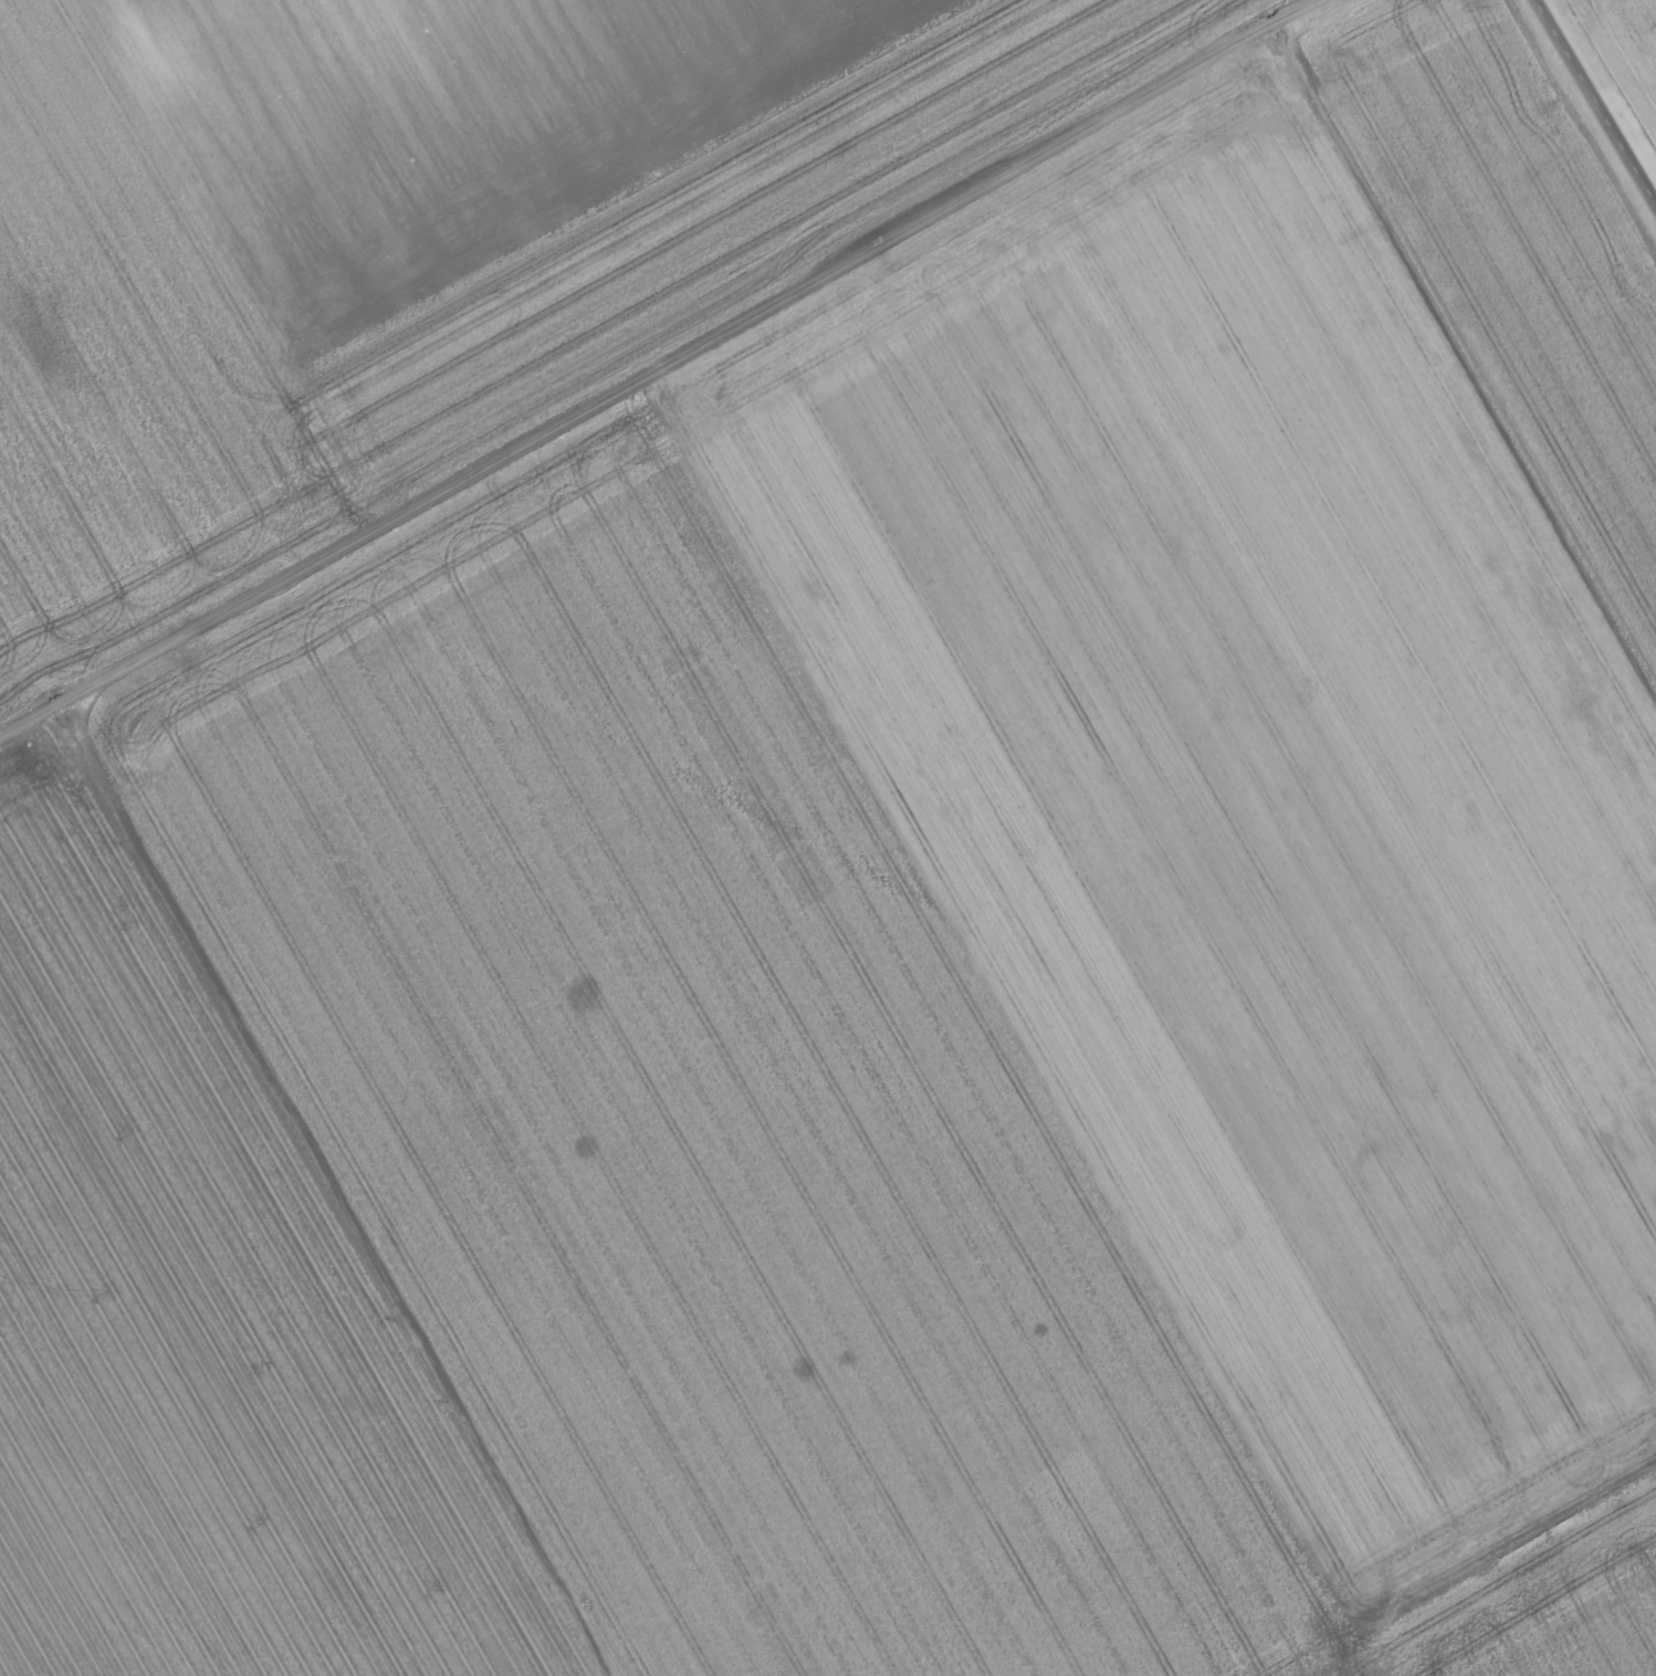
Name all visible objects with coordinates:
road: (1595, 102)
road: (649, 360)

